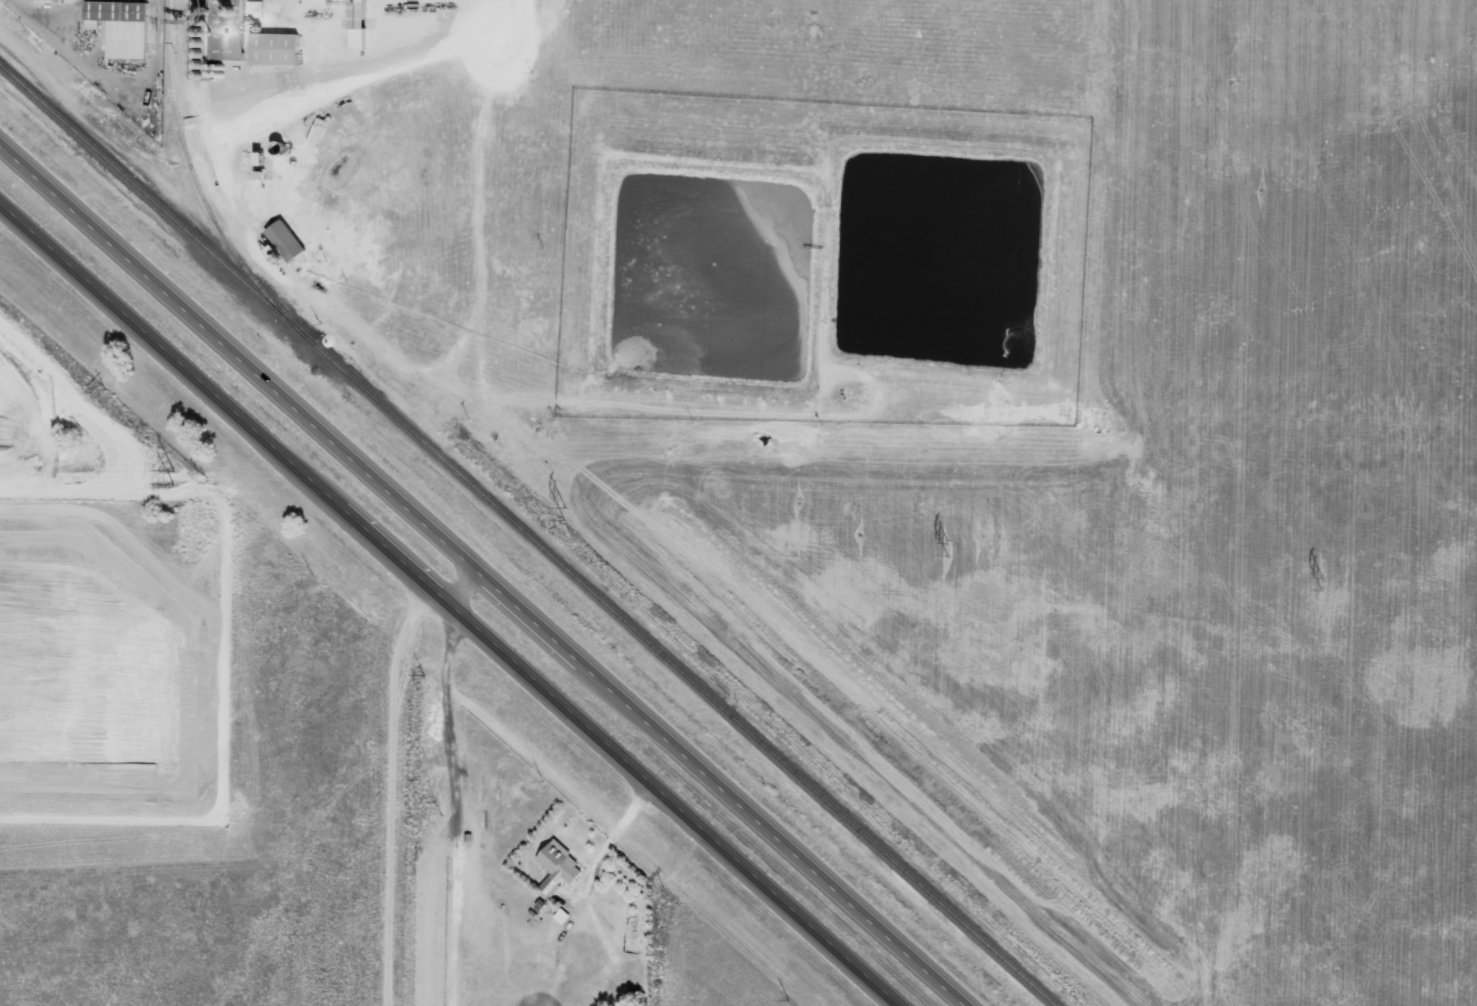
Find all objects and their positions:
building: (55, 4)
building: (128, 12)
building: (359, 29)
building: (281, 51)
building: (242, 54)
building: (107, 89)
railway: (192, 177)
building: (287, 243)
power tower: (170, 474)
power tower: (563, 511)
railway: (527, 535)
power tower: (945, 551)
road: (487, 573)
power tower: (1322, 584)
road: (463, 588)
road: (445, 608)
road: (605, 849)
building: (560, 864)

